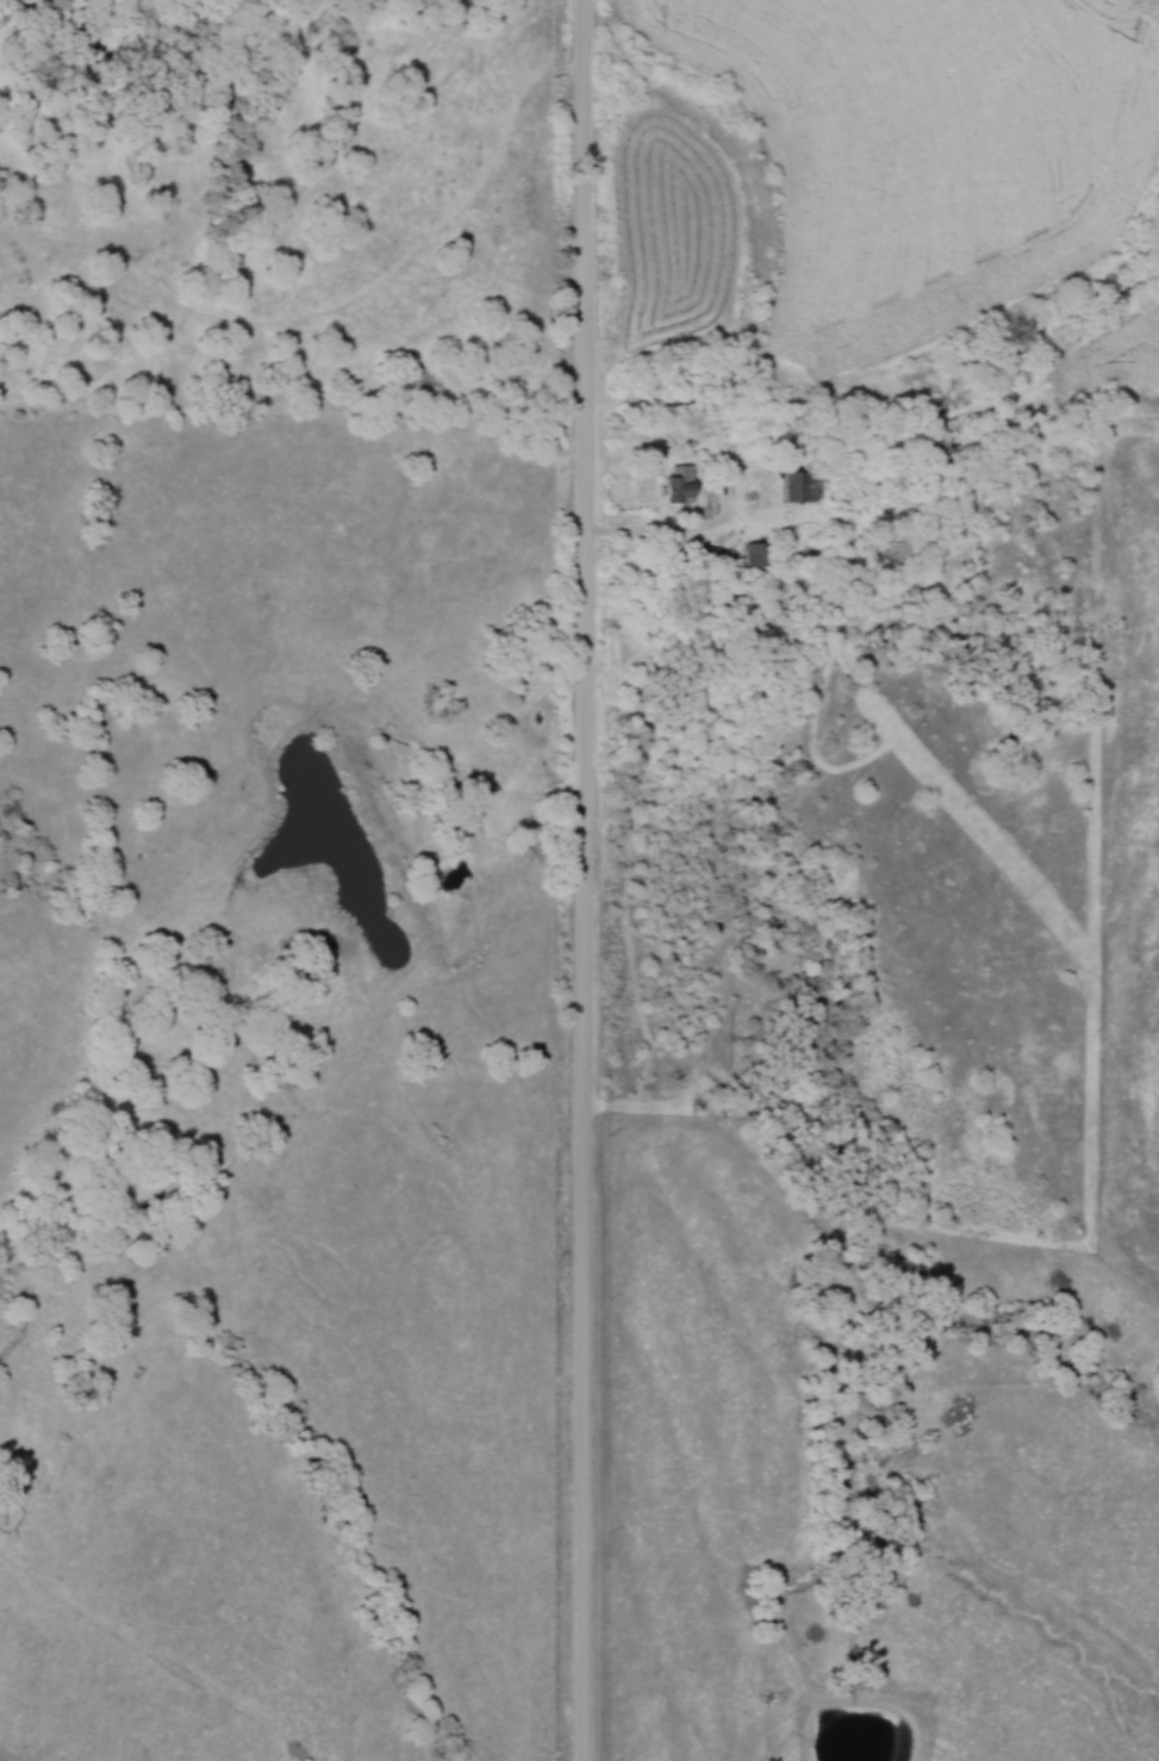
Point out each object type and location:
building: (746, 434)
building: (686, 481)
building: (808, 484)
road: (655, 536)
building: (759, 553)
road: (585, 879)

